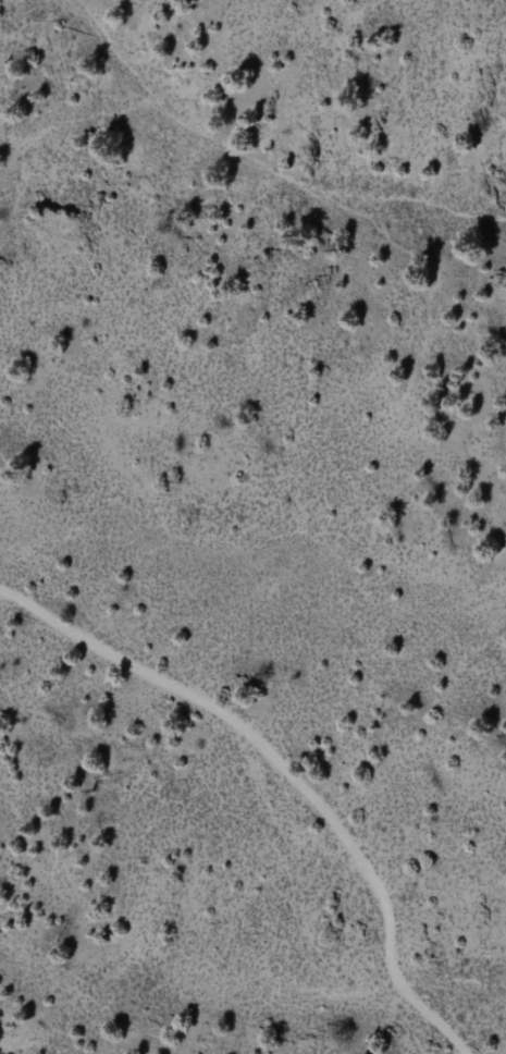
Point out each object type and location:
road: (287, 774)

